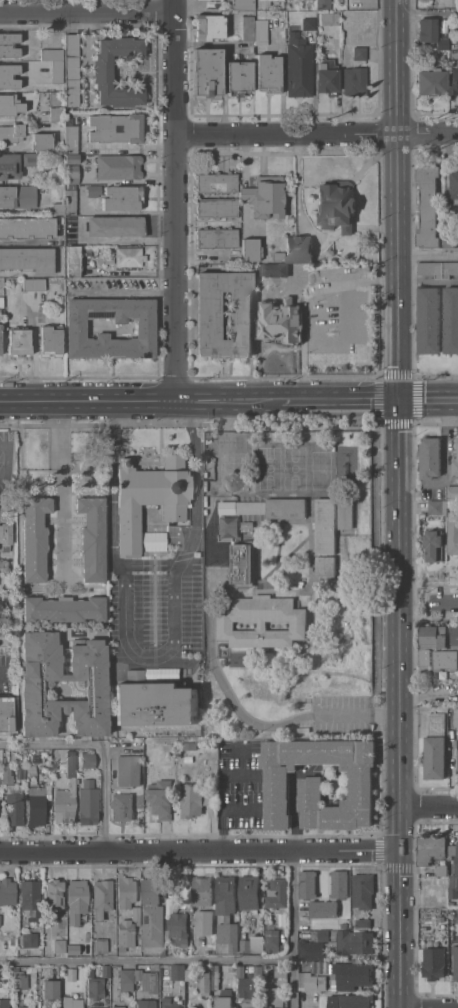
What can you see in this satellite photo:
building: (214, 4)
building: (243, 4)
building: (323, 4)
building: (354, 4)
road: (75, 7)
road: (89, 13)
road: (428, 13)
building: (329, 18)
building: (308, 23)
building: (208, 26)
building: (455, 26)
building: (248, 27)
building: (427, 29)
building: (261, 32)
building: (442, 43)
building: (9, 44)
building: (359, 52)
building: (51, 54)
road: (87, 54)
building: (299, 67)
road: (398, 67)
building: (72, 69)
building: (57, 71)
building: (103, 71)
building: (207, 71)
building: (268, 73)
building: (9, 76)
building: (239, 76)
building: (327, 77)
building: (355, 80)
building: (454, 81)
building: (431, 82)
building: (10, 104)
building: (56, 105)
building: (131, 128)
building: (11, 132)
road: (428, 134)
road: (289, 135)
building: (71, 139)
building: (42, 141)
building: (72, 158)
building: (30, 159)
building: (9, 165)
building: (119, 166)
building: (72, 173)
building: (217, 182)
building: (454, 182)
building: (93, 190)
building: (18, 196)
building: (266, 196)
road: (399, 196)
building: (122, 197)
road: (178, 199)
building: (70, 201)
building: (336, 205)
building: (428, 206)
building: (216, 207)
building: (59, 208)
building: (290, 219)
building: (116, 226)
building: (28, 227)
building: (449, 235)
building: (217, 237)
building: (250, 249)
building: (299, 249)
building: (129, 256)
building: (278, 256)
road: (429, 257)
building: (28, 259)
building: (73, 261)
building: (430, 268)
building: (449, 269)
building: (276, 270)
building: (29, 284)
building: (40, 284)
road: (306, 299)
building: (1, 301)
building: (240, 315)
building: (281, 320)
building: (429, 320)
building: (451, 320)
building: (76, 328)
road: (400, 329)
building: (0, 338)
building: (51, 340)
building: (19, 341)
road: (135, 400)
road: (429, 400)
road: (335, 401)
traffic signals: (401, 401)
road: (11, 427)
building: (457, 442)
road: (447, 452)
building: (431, 457)
road: (5, 461)
building: (455, 466)
road: (196, 474)
road: (111, 479)
road: (59, 483)
building: (453, 492)
building: (150, 497)
road: (400, 500)
building: (451, 504)
building: (251, 507)
building: (438, 507)
building: (286, 508)
building: (346, 514)
building: (251, 517)
building: (247, 526)
building: (326, 526)
building: (454, 533)
building: (5, 537)
building: (93, 537)
building: (35, 538)
building: (153, 541)
building: (435, 545)
building: (243, 563)
building: (326, 566)
road: (447, 597)
building: (64, 608)
building: (263, 621)
building: (101, 628)
road: (158, 630)
building: (438, 636)
road: (212, 640)
building: (424, 657)
building: (446, 660)
building: (161, 673)
road: (2, 675)
building: (96, 685)
building: (154, 702)
building: (6, 714)
road: (107, 742)
building: (436, 747)
building: (40, 757)
building: (72, 758)
building: (88, 758)
building: (188, 759)
building: (457, 759)
building: (32, 769)
building: (21, 771)
building: (72, 771)
building: (129, 771)
building: (7, 772)
building: (319, 782)
road: (221, 787)
building: (161, 798)
building: (194, 799)
building: (65, 802)
building: (88, 802)
road: (400, 803)
building: (36, 805)
building: (124, 805)
road: (429, 806)
building: (14, 809)
building: (430, 849)
road: (200, 850)
building: (441, 870)
building: (456, 870)
building: (339, 884)
building: (307, 885)
building: (7, 891)
building: (126, 891)
building: (363, 891)
building: (250, 893)
building: (54, 894)
building: (77, 895)
building: (277, 895)
building: (102, 898)
building: (31, 899)
building: (202, 909)
building: (323, 909)
building: (227, 911)
building: (152, 913)
building: (455, 916)
building: (136, 919)
building: (0, 920)
building: (363, 923)
building: (178, 928)
road: (295, 928)
building: (126, 933)
building: (323, 935)
building: (29, 939)
building: (72, 939)
building: (272, 940)
building: (355, 942)
building: (251, 943)
building: (102, 945)
building: (60, 946)
building: (311, 950)
building: (434, 957)
road: (147, 959)
building: (455, 962)
building: (155, 967)
building: (319, 967)
building: (232, 968)
building: (90, 971)
building: (106, 971)
building: (281, 971)
building: (178, 972)
building: (71, 974)
building: (189, 975)
building: (351, 975)
building: (215, 977)
building: (20, 978)
building: (126, 979)
building: (306, 980)
building: (146, 981)
building: (228, 981)
building: (249, 981)
building: (205, 982)
building: (97, 987)
building: (50, 991)
building: (277, 997)
building: (225, 999)
building: (353, 1001)
building: (72, 1002)
building: (146, 1002)
building: (4, 1003)
building: (169, 1003)
building: (251, 1005)
building: (26, 1006)
building: (118, 1007)
building: (194, 1007)

